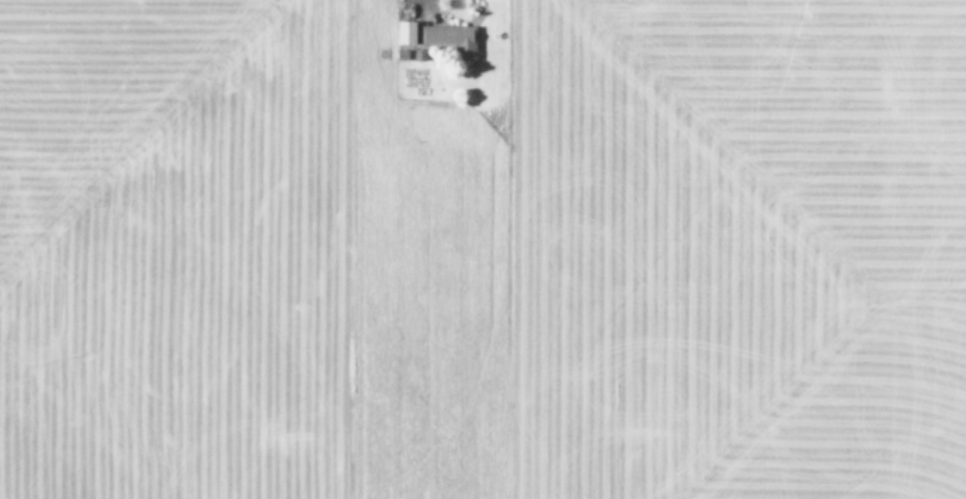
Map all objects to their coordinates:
crop: (483, 249)

